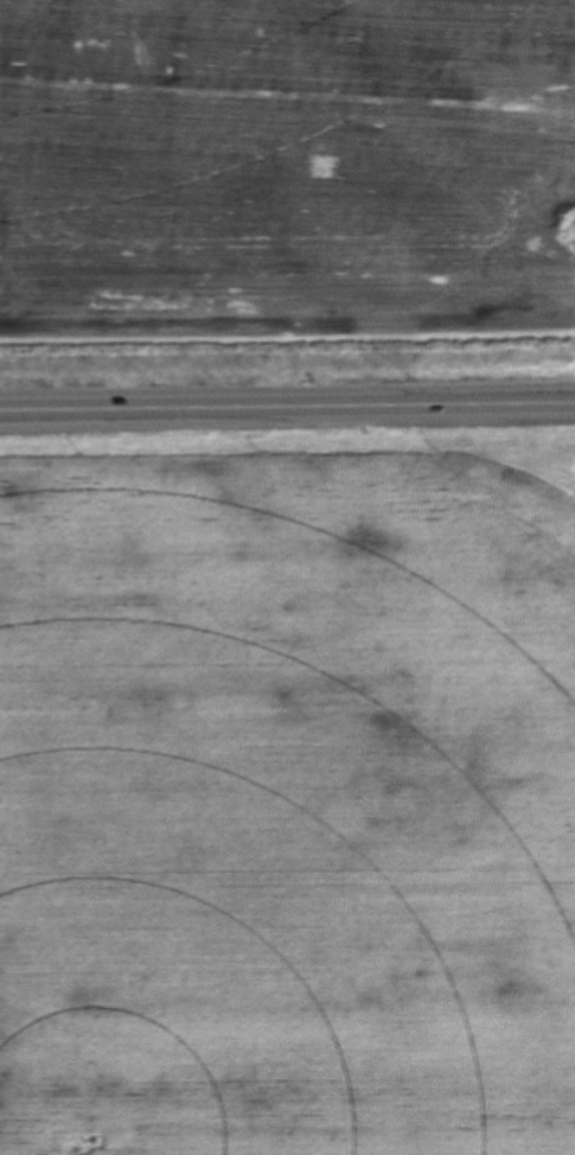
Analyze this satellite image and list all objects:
road: (287, 406)

